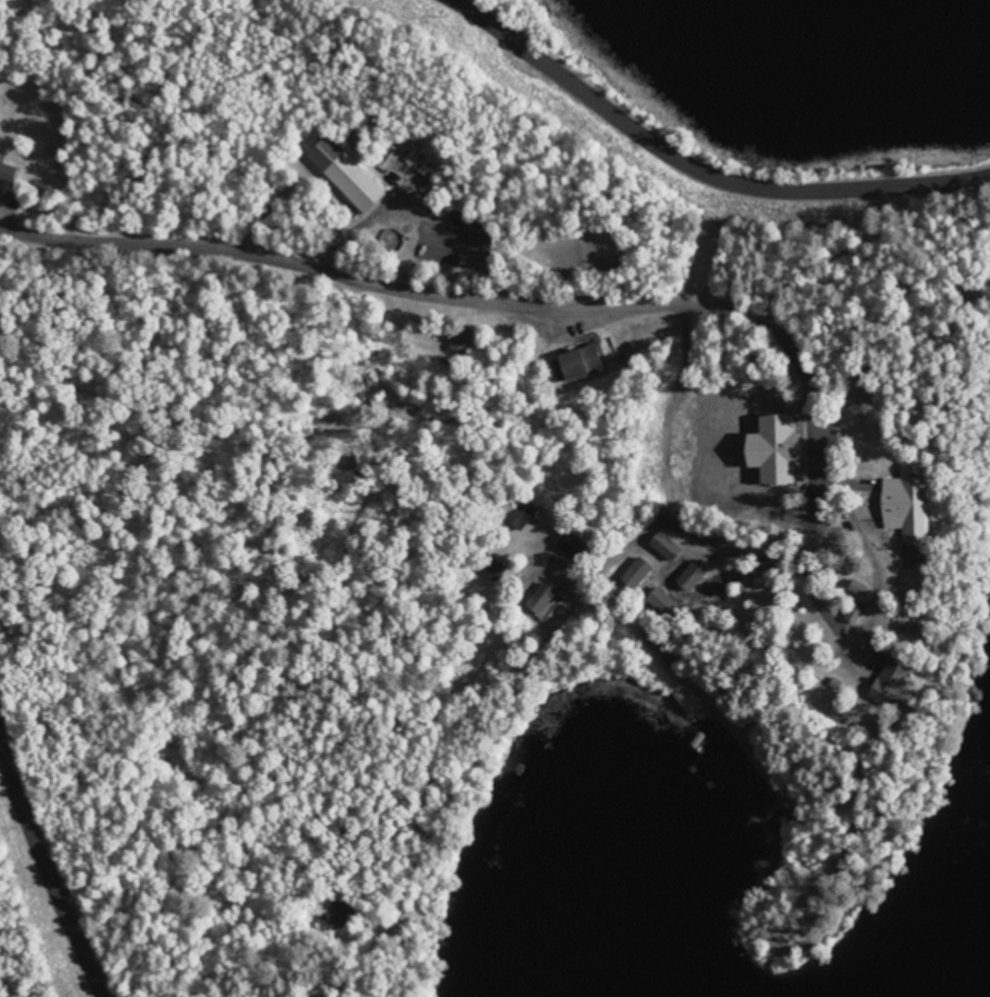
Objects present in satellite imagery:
road: (671, 162)
building: (353, 174)
road: (359, 301)
road: (744, 308)
building: (594, 362)
building: (907, 503)
building: (529, 514)
road: (39, 896)

